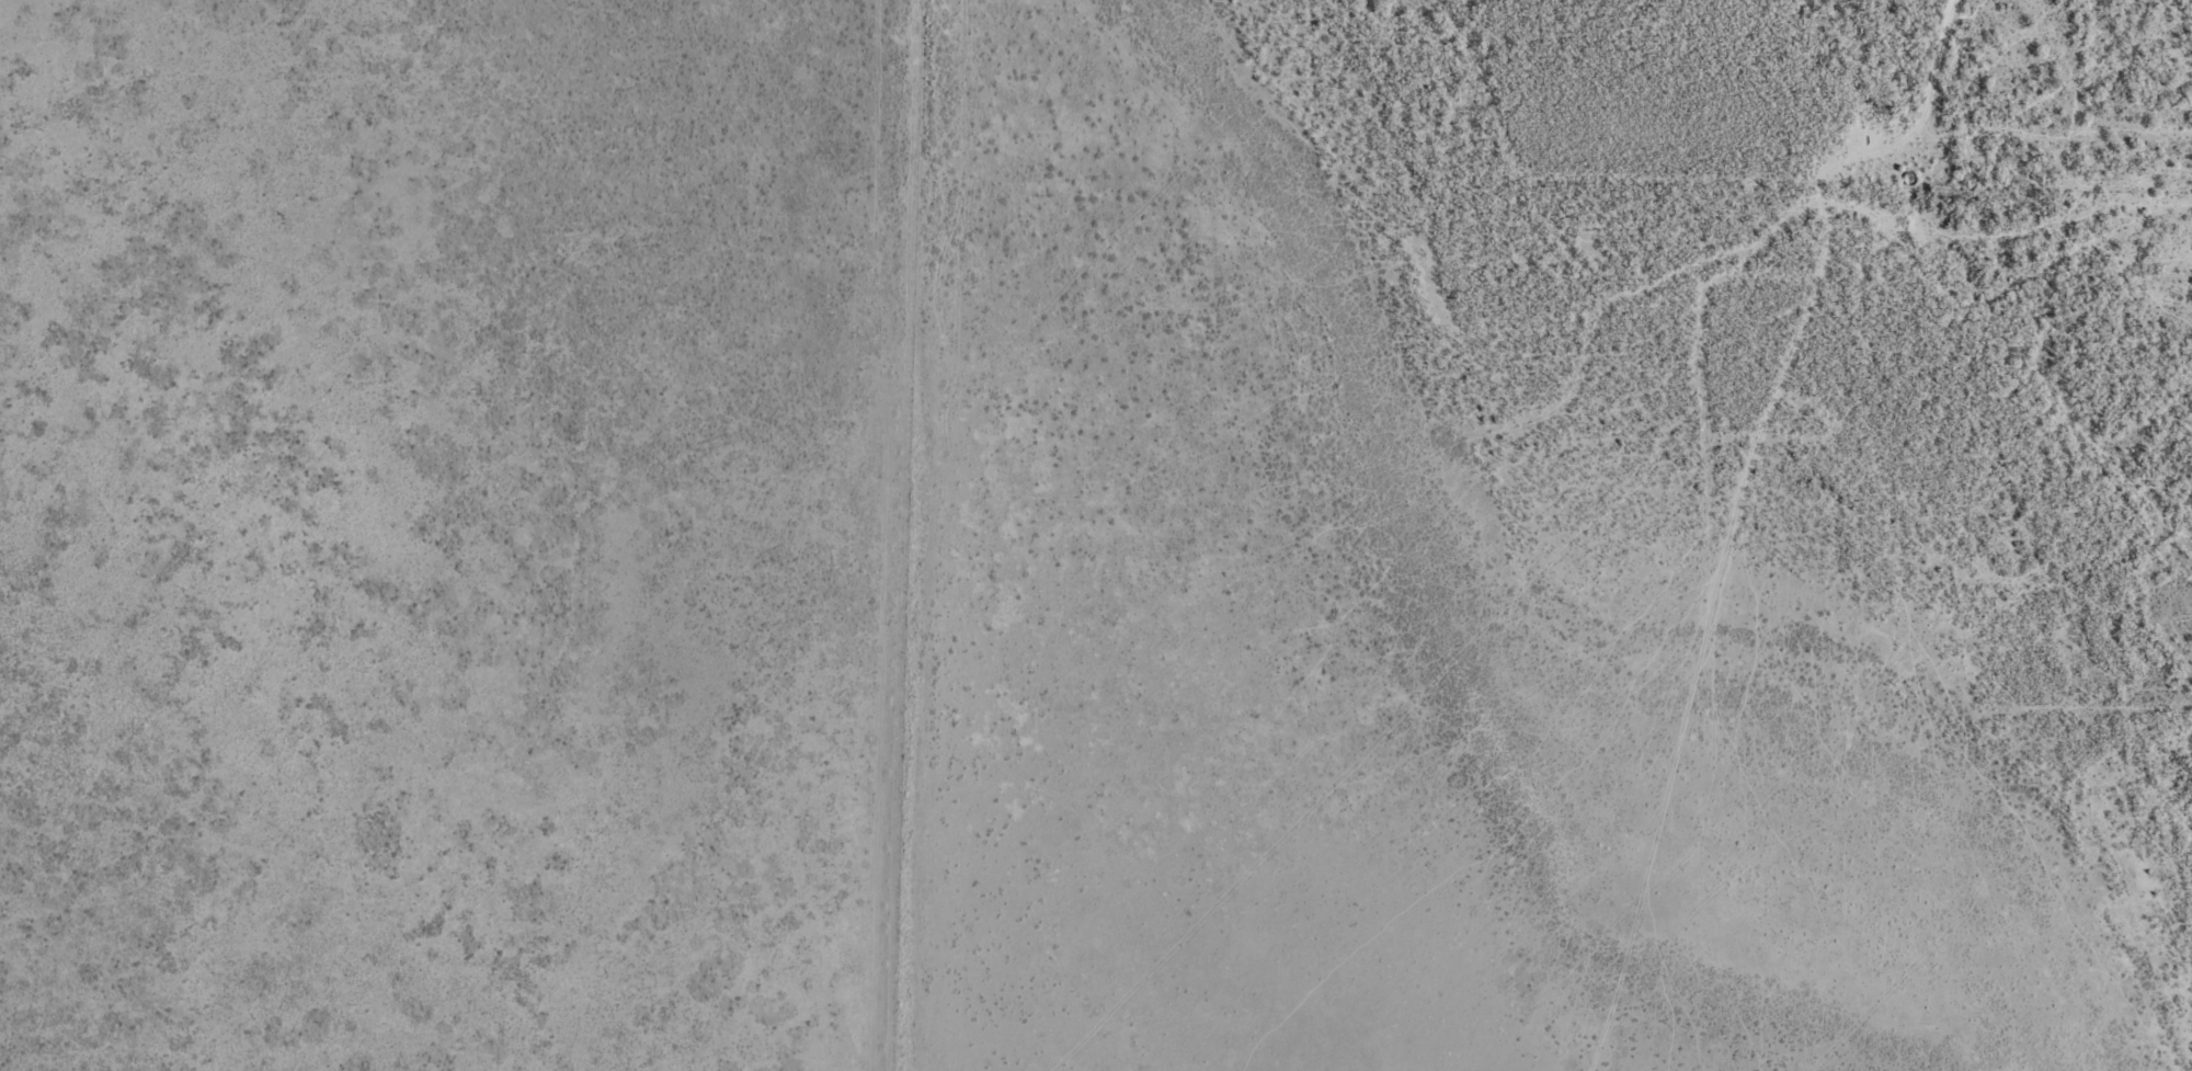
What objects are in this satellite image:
road: (1887, 333)

